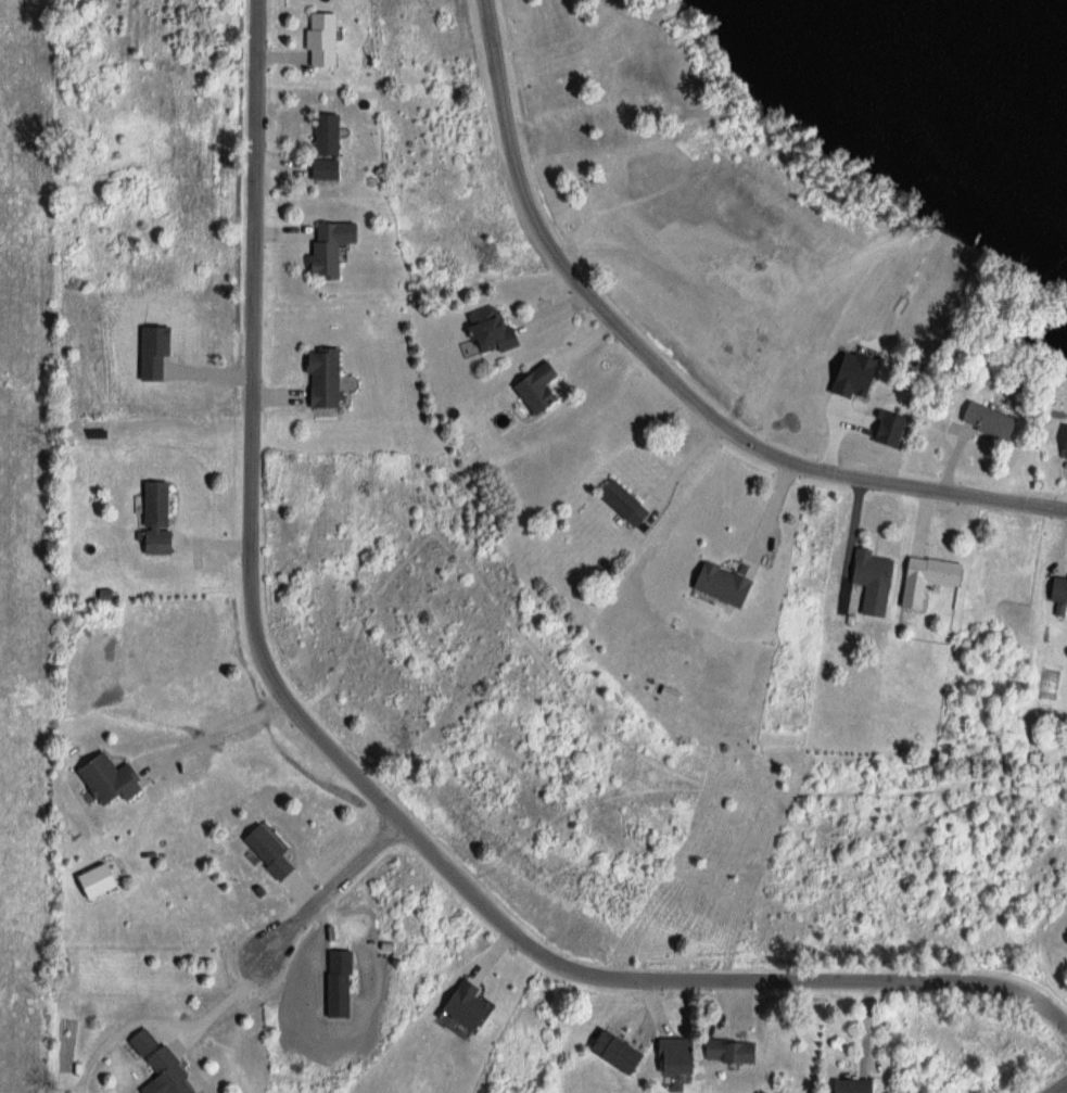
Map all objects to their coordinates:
building: (315, 39)
building: (320, 135)
building: (318, 169)
building: (318, 252)
building: (483, 331)
road: (666, 376)
building: (316, 378)
building: (530, 389)
building: (976, 422)
building: (1058, 448)
building: (618, 504)
road: (767, 511)
building: (149, 520)
building: (928, 571)
building: (866, 582)
building: (713, 585)
building: (1055, 590)
road: (209, 735)
road: (350, 772)
building: (101, 780)
building: (262, 852)
road: (326, 893)
building: (459, 1005)
road: (215, 1008)
building: (137, 1042)
building: (607, 1052)
building: (724, 1052)
building: (665, 1055)
building: (160, 1072)
building: (844, 1085)
road: (1059, 1088)

